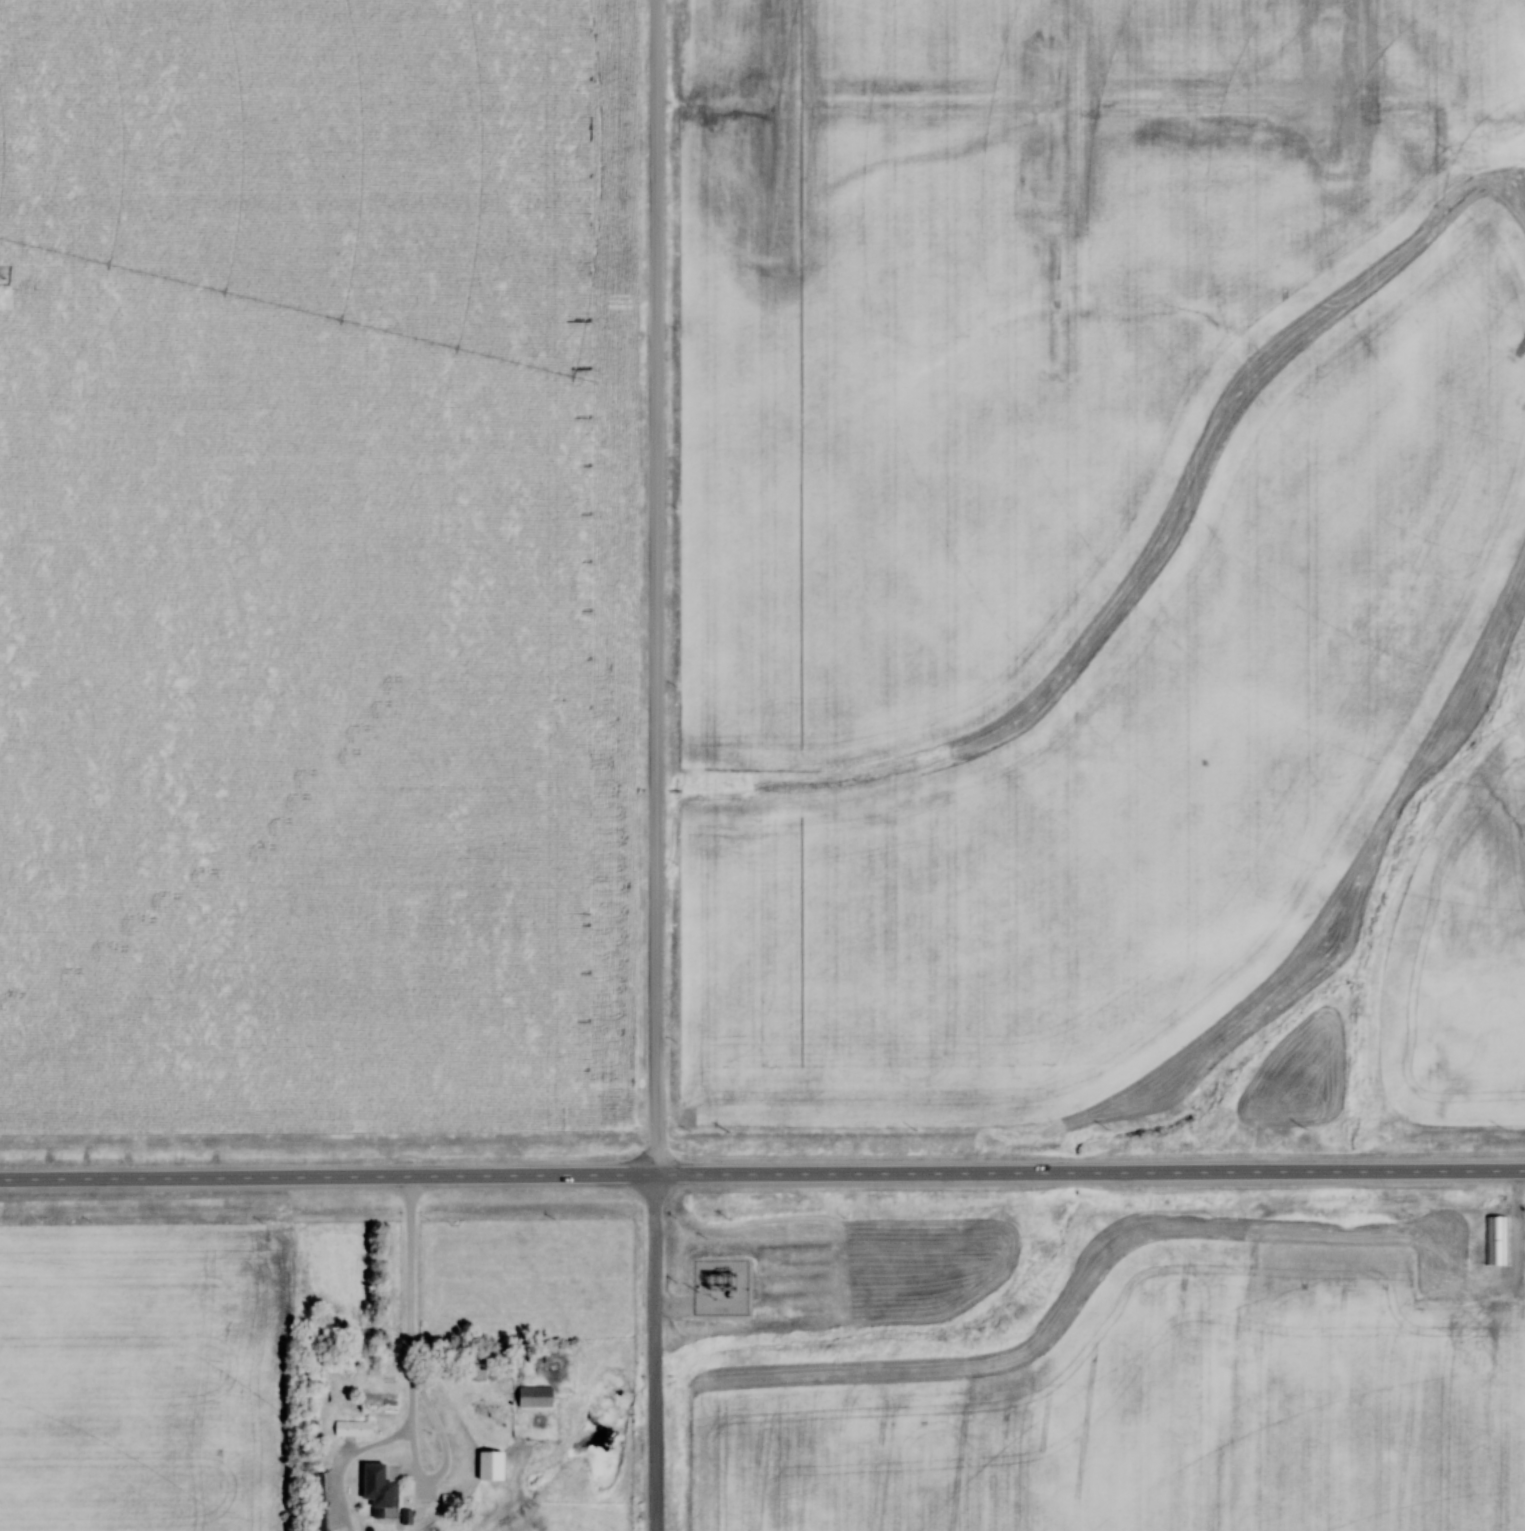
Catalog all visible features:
road: (657, 765)
road: (762, 1176)
building: (1498, 1241)
road: (415, 1279)
crop: (141, 1378)
building: (539, 1396)
building: (356, 1428)
road: (447, 1441)
building: (491, 1463)
building: (384, 1483)
building: (321, 1501)

